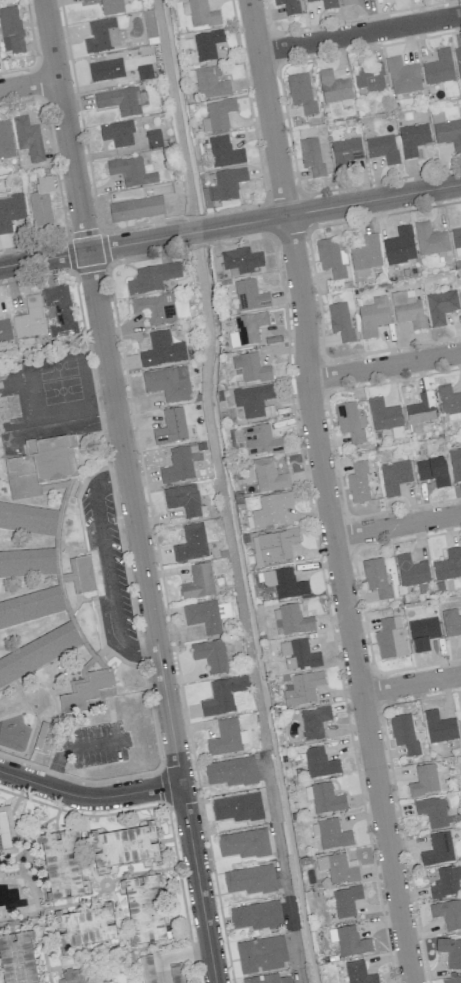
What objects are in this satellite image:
building: (310, 0)
building: (347, 2)
building: (328, 4)
building: (109, 6)
building: (287, 6)
building: (202, 14)
building: (11, 31)
road: (359, 33)
building: (104, 35)
building: (207, 45)
building: (458, 62)
building: (439, 68)
building: (106, 70)
building: (402, 76)
building: (369, 78)
building: (210, 83)
road: (28, 84)
building: (333, 87)
building: (300, 92)
building: (121, 101)
building: (219, 114)
building: (447, 131)
building: (117, 133)
building: (28, 138)
building: (153, 139)
building: (413, 139)
building: (5, 140)
building: (382, 148)
building: (224, 152)
building: (345, 153)
building: (311, 156)
building: (131, 172)
building: (226, 185)
building: (41, 202)
building: (137, 209)
building: (10, 211)
road: (230, 225)
building: (430, 239)
building: (457, 241)
building: (400, 246)
building: (365, 256)
building: (331, 259)
building: (241, 261)
building: (153, 278)
building: (460, 293)
building: (250, 296)
building: (440, 306)
building: (155, 309)
building: (408, 309)
building: (59, 310)
building: (374, 317)
building: (29, 318)
building: (340, 321)
building: (247, 329)
building: (4, 330)
building: (162, 350)
park: (55, 364)
road: (384, 366)
building: (251, 368)
building: (168, 383)
park: (60, 388)
road: (112, 392)
building: (254, 401)
building: (449, 403)
building: (420, 412)
building: (383, 415)
building: (348, 421)
building: (171, 427)
building: (258, 440)
building: (455, 464)
building: (40, 466)
building: (177, 466)
building: (433, 471)
building: (269, 476)
building: (394, 477)
building: (358, 483)
road: (324, 492)
building: (182, 499)
building: (269, 511)
building: (27, 519)
road: (396, 525)
building: (191, 543)
building: (273, 547)
building: (27, 563)
building: (448, 565)
road: (107, 567)
building: (411, 571)
building: (84, 575)
building: (376, 578)
building: (66, 579)
building: (198, 583)
building: (284, 583)
building: (30, 607)
building: (206, 615)
building: (291, 620)
building: (451, 623)
building: (422, 633)
building: (390, 638)
building: (37, 653)
building: (298, 654)
building: (210, 655)
road: (410, 683)
building: (302, 688)
building: (89, 693)
building: (224, 695)
building: (460, 720)
building: (314, 722)
building: (439, 727)
building: (404, 734)
building: (42, 737)
building: (227, 737)
road: (75, 747)
building: (319, 763)
building: (231, 772)
building: (424, 781)
road: (88, 797)
building: (326, 799)
building: (237, 808)
building: (432, 811)
road: (55, 824)
building: (6, 830)
building: (331, 834)
building: (122, 844)
building: (244, 844)
building: (438, 849)
road: (85, 850)
road: (27, 858)
building: (60, 862)
building: (338, 868)
road: (143, 871)
building: (250, 880)
building: (446, 882)
road: (197, 883)
road: (110, 885)
building: (346, 901)
road: (74, 903)
building: (143, 907)
building: (448, 913)
building: (256, 916)
road: (21, 922)
building: (83, 925)
building: (351, 941)
road: (127, 948)
road: (41, 952)
building: (450, 952)
building: (261, 954)
road: (172, 956)
building: (16, 958)
road: (106, 959)
building: (145, 968)
building: (175, 973)
building: (358, 973)
building: (69, 975)
building: (267, 979)
building: (452, 980)

